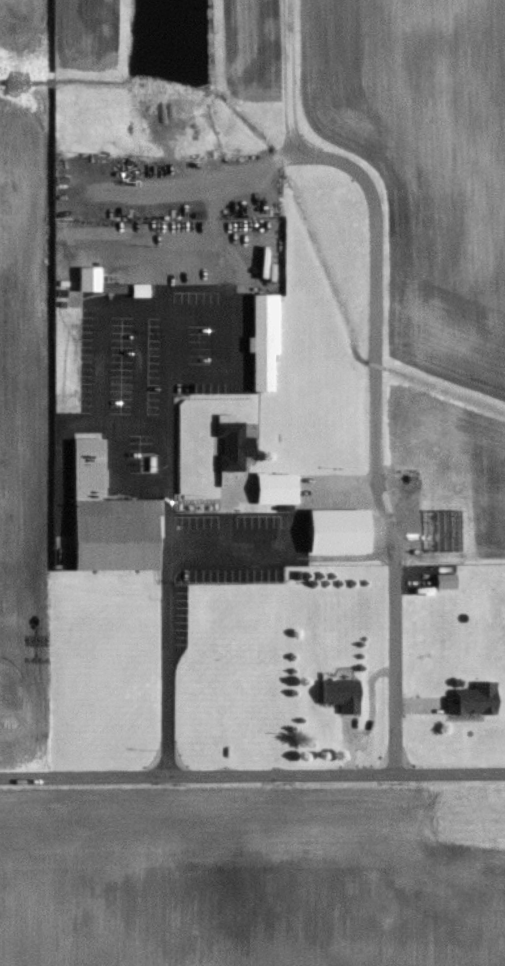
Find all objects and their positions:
road: (165, 311)
road: (229, 338)
building: (264, 340)
road: (374, 365)
building: (233, 446)
building: (265, 510)
building: (109, 519)
building: (445, 581)
road: (168, 592)
building: (341, 693)
building: (472, 699)
road: (252, 778)

